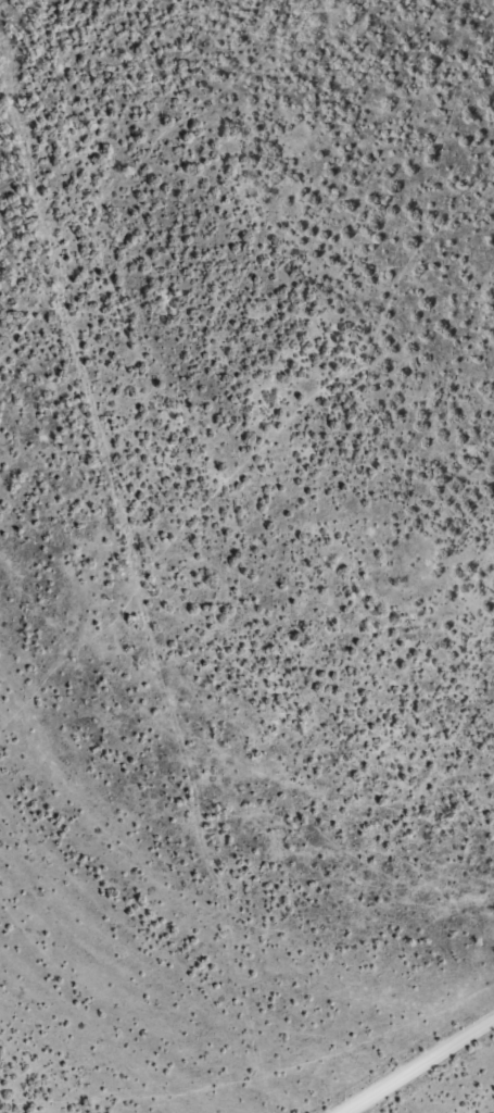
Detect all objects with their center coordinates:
road: (417, 1066)

